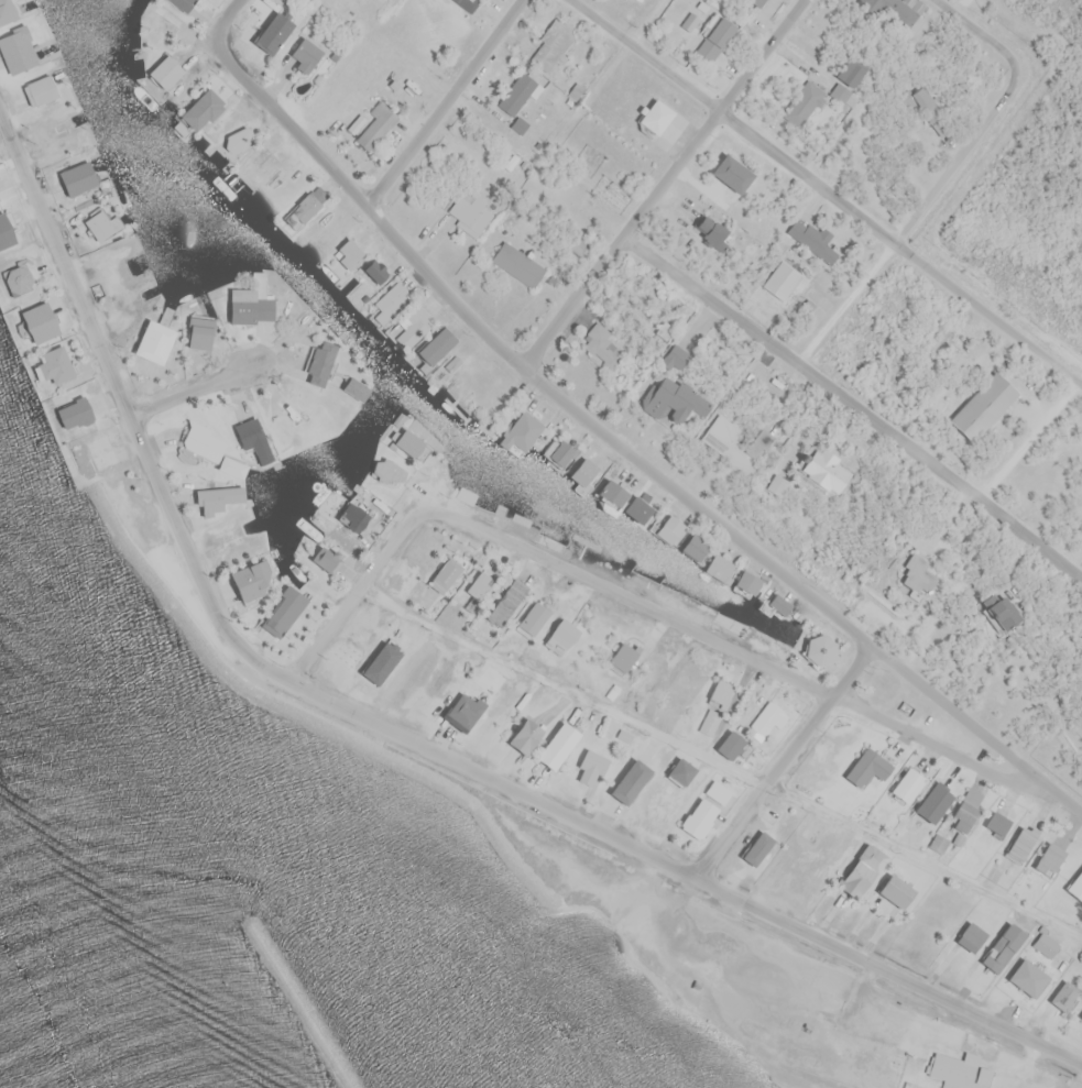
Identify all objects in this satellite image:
building: (757, 2)
building: (182, 3)
building: (468, 4)
building: (6, 11)
building: (895, 12)
road: (228, 17)
building: (160, 22)
road: (651, 22)
road: (976, 29)
building: (714, 39)
building: (553, 45)
building: (17, 50)
building: (304, 54)
building: (164, 72)
building: (848, 77)
building: (43, 87)
building: (518, 92)
building: (918, 99)
road: (445, 102)
building: (805, 103)
building: (199, 110)
building: (654, 116)
building: (378, 124)
building: (56, 134)
building: (239, 138)
building: (77, 178)
road: (665, 183)
road: (829, 191)
building: (302, 210)
building: (470, 212)
road: (916, 212)
building: (98, 224)
building: (709, 231)
building: (4, 232)
building: (815, 240)
building: (348, 253)
building: (517, 264)
building: (371, 273)
building: (17, 278)
building: (780, 279)
building: (390, 301)
building: (250, 307)
building: (37, 321)
building: (409, 326)
building: (198, 332)
building: (153, 341)
building: (435, 345)
building: (602, 347)
building: (319, 362)
building: (54, 364)
road: (195, 387)
building: (353, 387)
building: (666, 398)
road: (855, 403)
building: (982, 406)
building: (73, 413)
building: (306, 417)
building: (520, 431)
building: (251, 437)
road: (1030, 438)
building: (743, 439)
building: (201, 443)
building: (411, 444)
road: (626, 447)
building: (559, 452)
building: (96, 453)
building: (231, 466)
building: (821, 470)
building: (581, 471)
building: (774, 484)
building: (216, 498)
building: (637, 508)
building: (350, 516)
building: (668, 528)
building: (556, 530)
building: (230, 537)
building: (693, 547)
building: (324, 559)
building: (718, 567)
building: (445, 574)
building: (916, 575)
building: (250, 578)
building: (746, 582)
building: (479, 584)
road: (361, 591)
building: (505, 602)
building: (778, 604)
building: (281, 607)
building: (994, 608)
building: (532, 618)
building: (560, 636)
road: (741, 649)
building: (818, 649)
building: (622, 657)
building: (719, 694)
building: (1080, 700)
building: (465, 711)
building: (767, 718)
building: (710, 722)
road: (392, 728)
building: (523, 736)
building: (730, 745)
building: (556, 746)
road: (723, 759)
road: (784, 759)
building: (866, 767)
building: (590, 768)
building: (663, 782)
building: (906, 784)
building: (718, 791)
building: (932, 803)
building: (965, 810)
building: (698, 817)
building: (996, 824)
building: (938, 843)
building: (756, 848)
building: (1013, 851)
building: (1048, 859)
building: (860, 870)
building: (1075, 887)
building: (894, 890)
building: (970, 936)
building: (1046, 945)
building: (1002, 947)
building: (1027, 977)
building: (1063, 996)
building: (1081, 1016)
building: (958, 1069)

